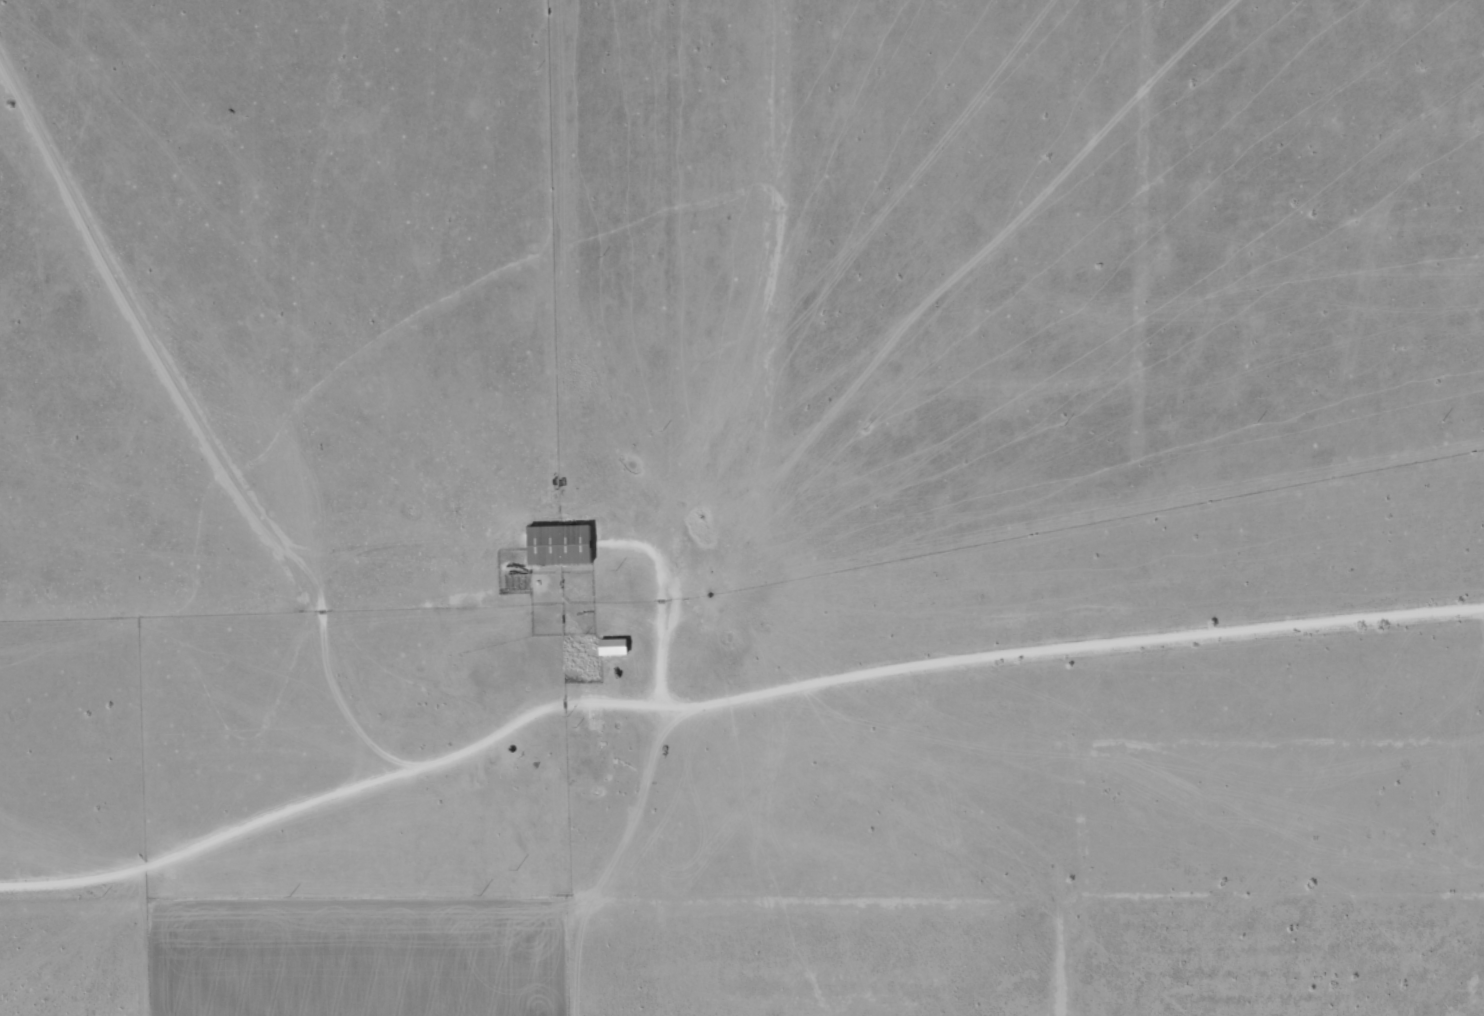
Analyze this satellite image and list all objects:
road: (209, 504)
building: (557, 545)
building: (611, 647)
road: (731, 765)

